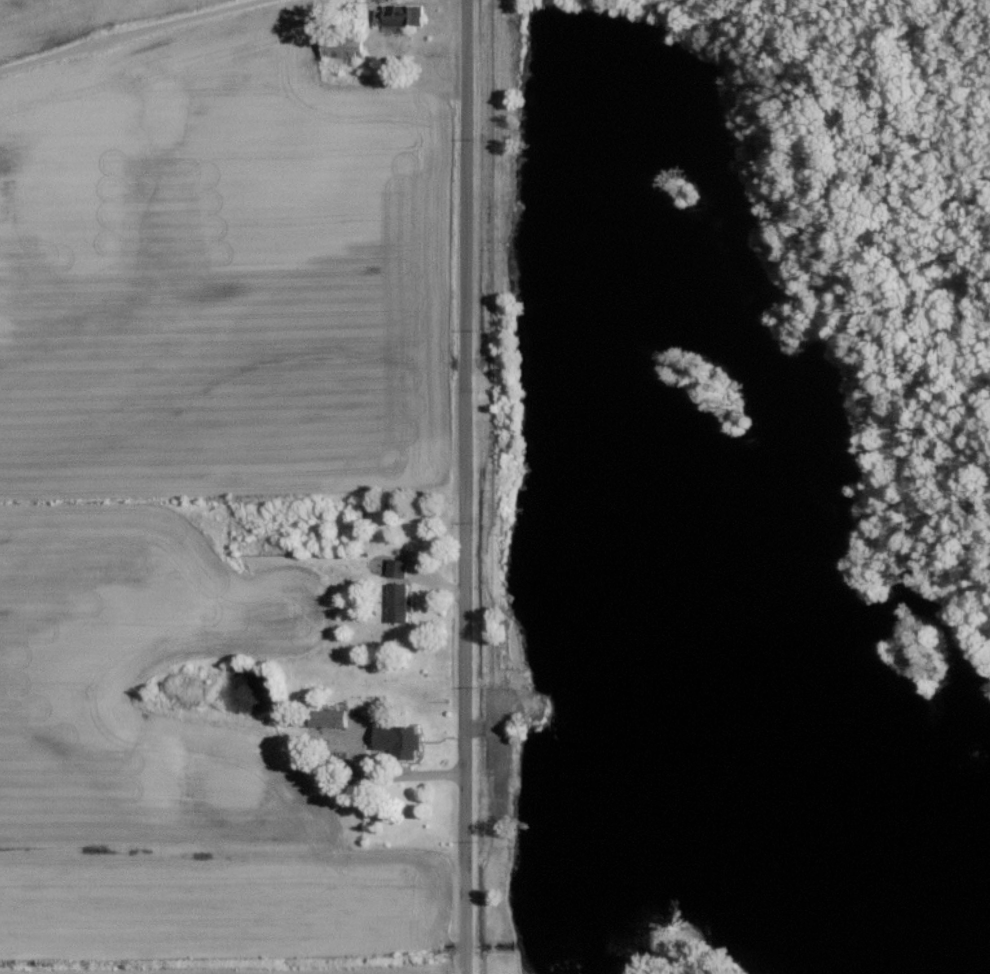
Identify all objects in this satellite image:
road: (130, 33)
road: (468, 487)
building: (398, 567)
building: (400, 602)
building: (328, 716)
building: (401, 740)

